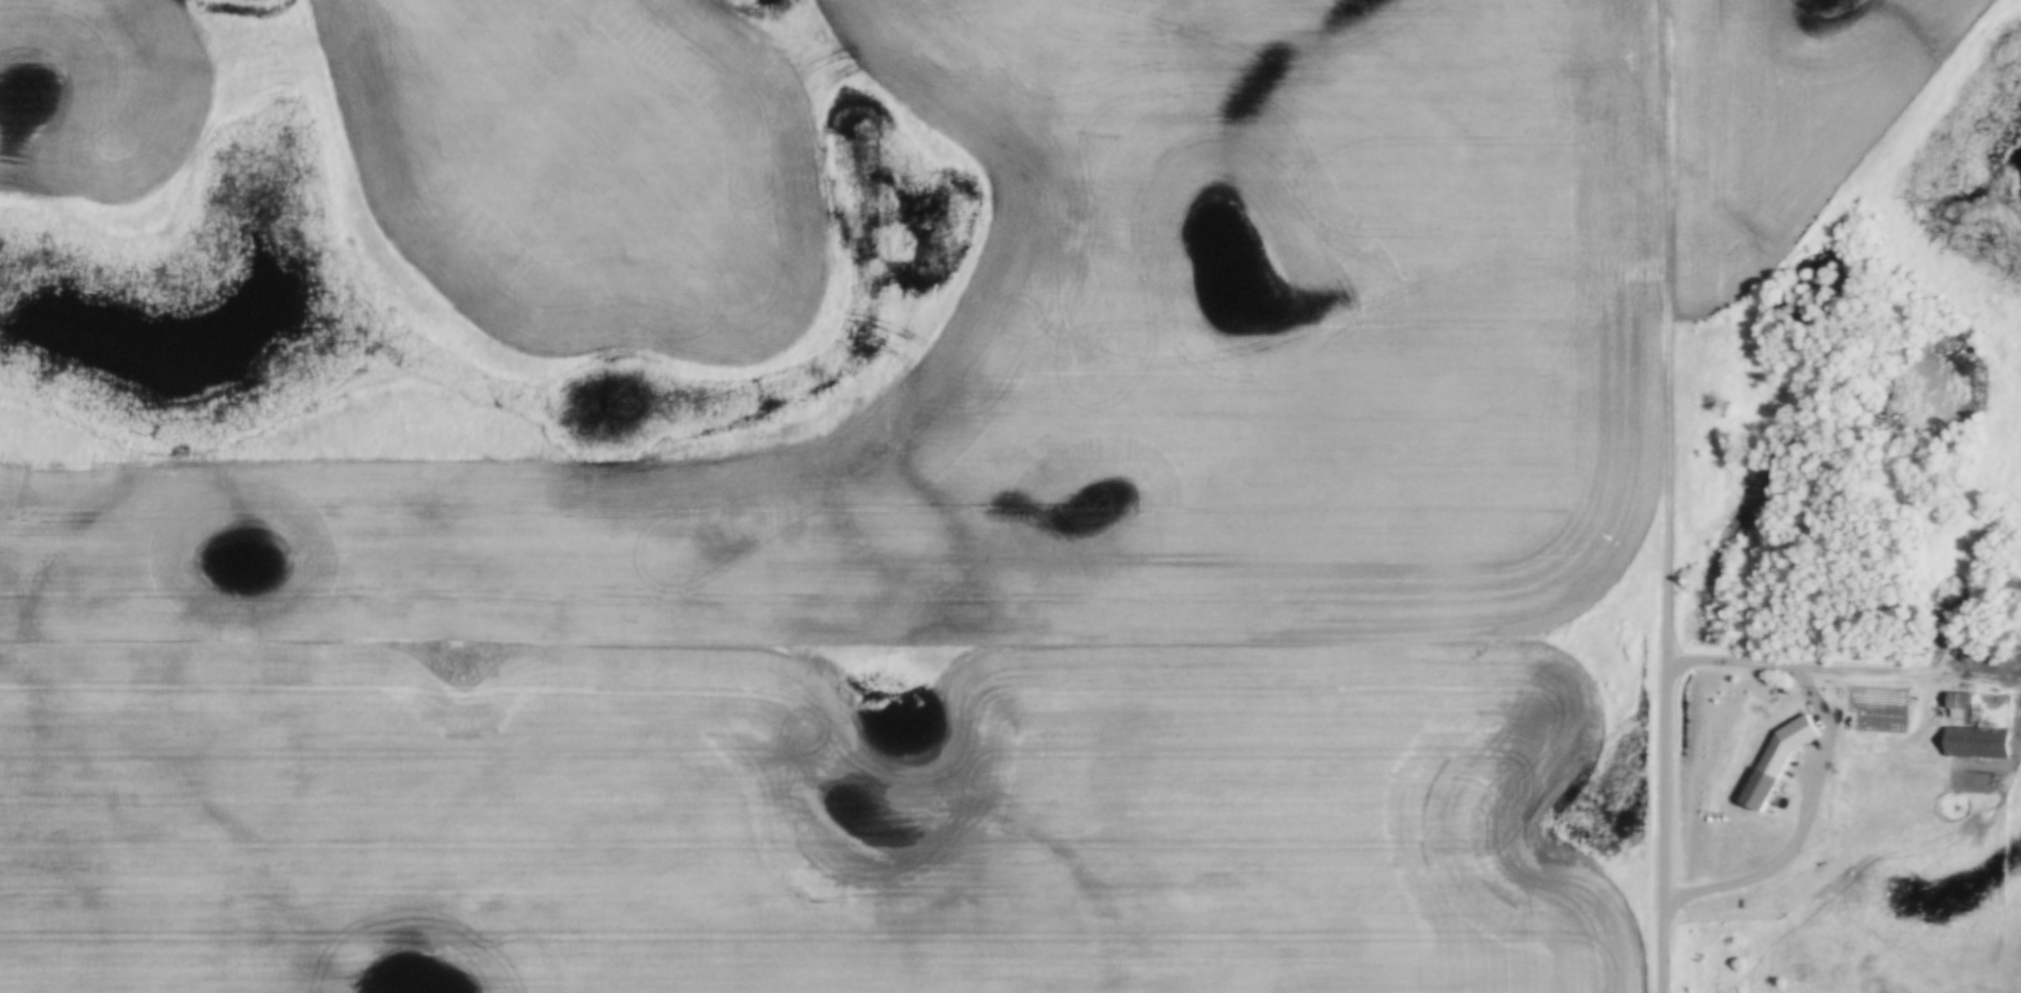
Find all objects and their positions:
road: (1669, 335)
building: (1964, 701)
building: (1981, 744)
road: (1815, 763)
building: (1769, 779)
road: (1669, 831)

